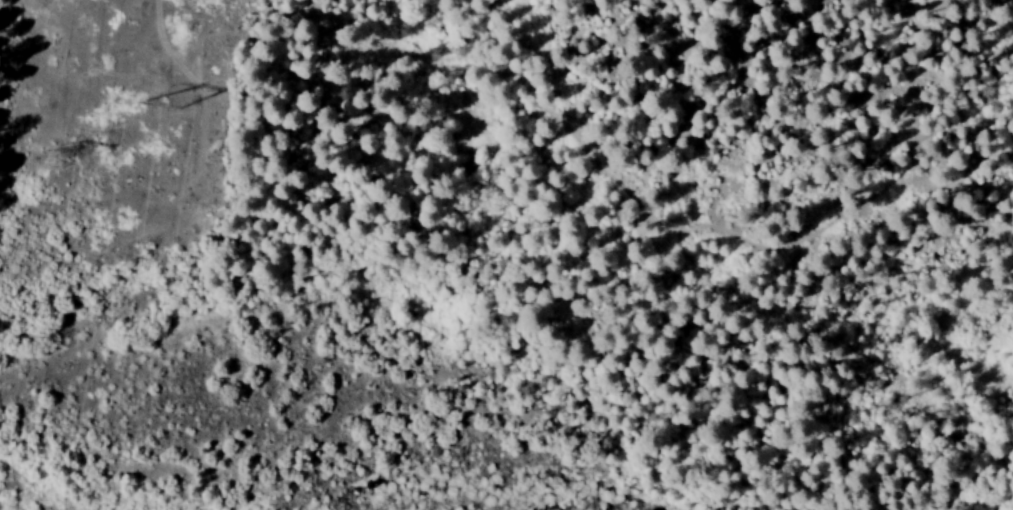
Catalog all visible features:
power tower: (207, 98)
power tower: (95, 153)

